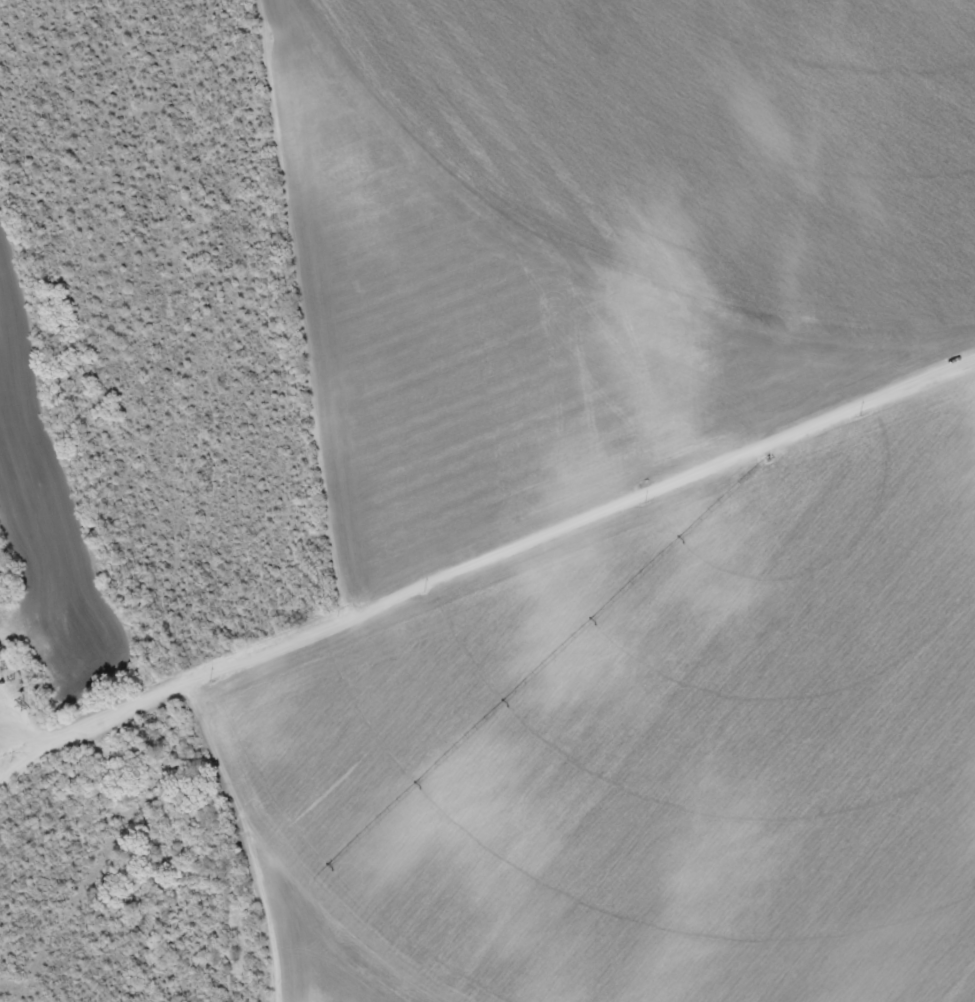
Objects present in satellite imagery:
road: (482, 564)

